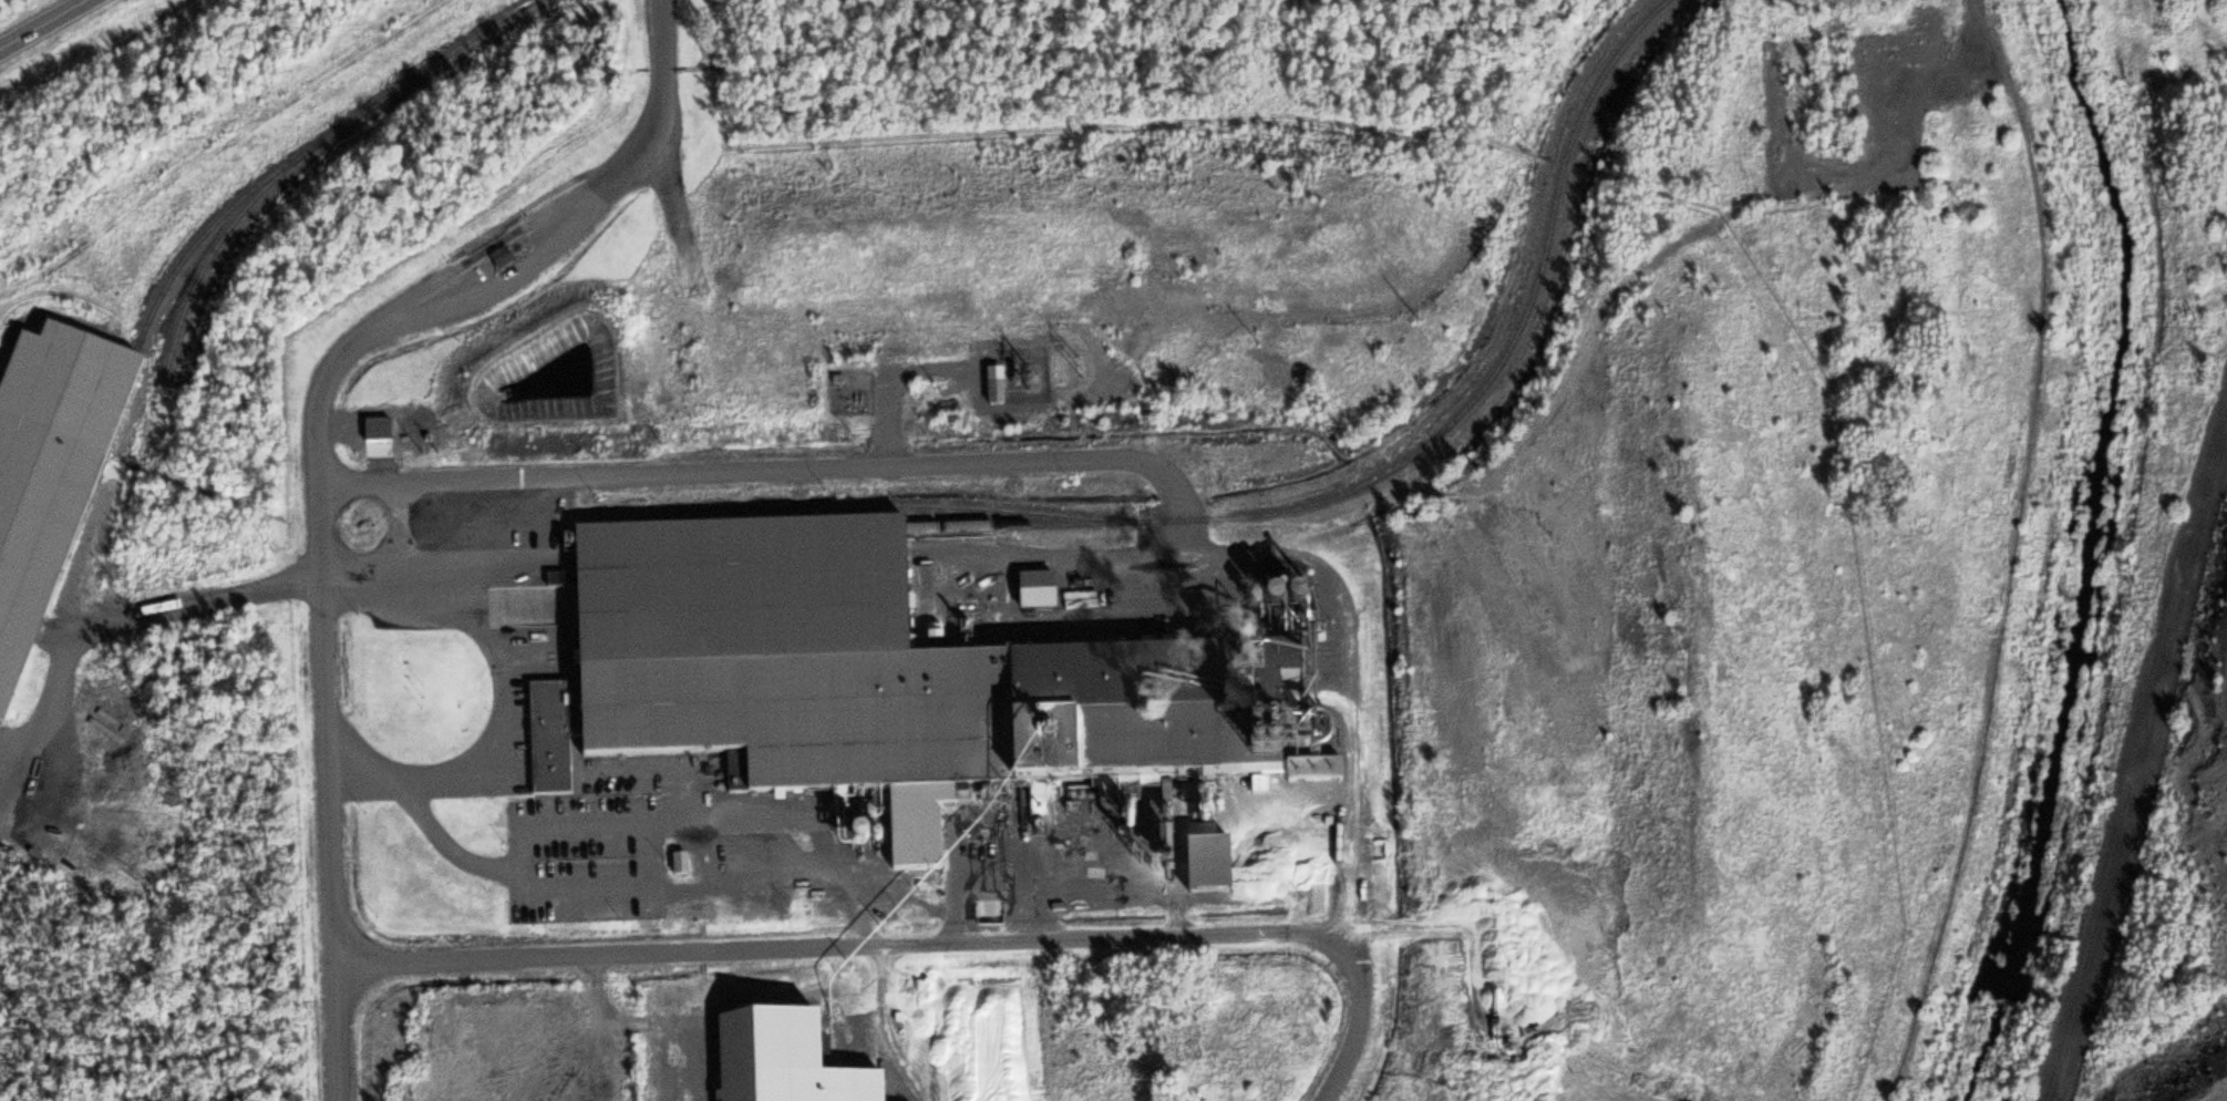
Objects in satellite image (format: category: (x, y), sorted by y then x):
power substation: (1024, 377)

